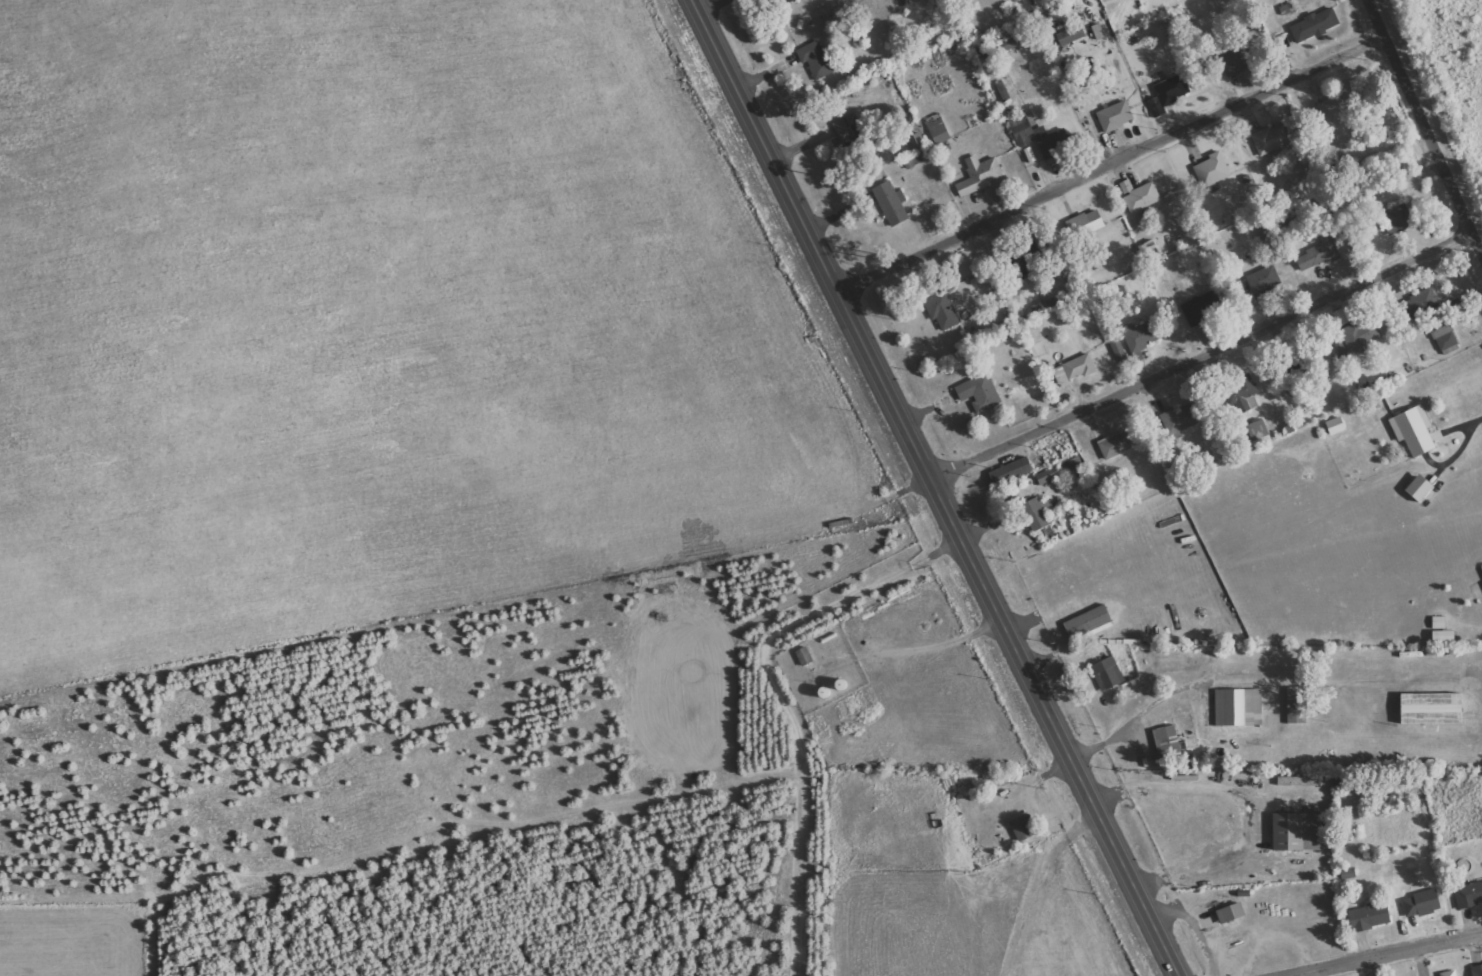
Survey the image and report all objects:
building: (782, 2)
building: (1316, 25)
building: (1005, 47)
building: (816, 61)
building: (1238, 61)
building: (1170, 94)
building: (1117, 117)
road: (1425, 124)
building: (850, 131)
building: (1035, 136)
building: (1274, 139)
road: (1112, 163)
building: (1214, 170)
building: (981, 175)
building: (1142, 196)
building: (893, 205)
building: (1397, 219)
building: (1088, 224)
building: (1320, 254)
building: (1265, 281)
building: (1420, 304)
building: (1202, 309)
building: (944, 311)
building: (1143, 336)
building: (1354, 338)
building: (1446, 338)
road: (1203, 356)
building: (1081, 367)
building: (1062, 377)
building: (981, 392)
building: (1248, 395)
building: (1183, 418)
building: (1337, 426)
building: (1416, 431)
building: (1118, 445)
building: (1013, 472)
building: (1051, 475)
road: (936, 488)
building: (1423, 489)
building: (1037, 514)
building: (1089, 622)
building: (1441, 622)
building: (1445, 636)
building: (805, 656)
building: (1108, 674)
building: (1139, 686)
building: (1298, 705)
building: (1240, 707)
building: (1436, 708)
building: (1169, 741)
building: (1297, 781)
building: (1024, 828)
building: (1299, 831)
building: (1469, 895)
building: (1423, 904)
building: (1232, 913)
building: (1372, 916)
road: (1387, 955)
building: (1477, 971)
building: (1451, 973)

